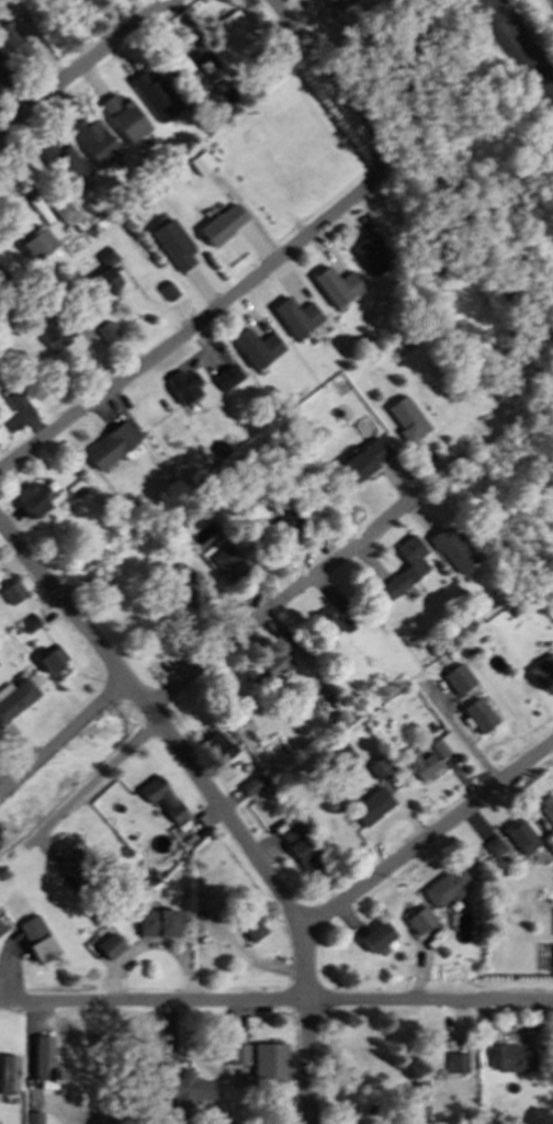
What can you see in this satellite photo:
building: (69, 0)
building: (335, 3)
building: (229, 37)
building: (13, 38)
railway: (518, 44)
building: (174, 61)
road: (83, 64)
building: (3, 72)
road: (347, 76)
building: (153, 94)
building: (133, 127)
building: (92, 139)
building: (61, 161)
building: (200, 165)
road: (16, 175)
building: (60, 207)
building: (219, 223)
building: (32, 238)
building: (170, 241)
building: (370, 251)
building: (103, 273)
building: (335, 284)
building: (166, 291)
building: (391, 299)
road: (207, 312)
building: (294, 315)
building: (53, 331)
building: (104, 331)
building: (255, 346)
building: (223, 376)
building: (316, 376)
building: (180, 385)
building: (11, 396)
building: (406, 418)
building: (109, 445)
building: (361, 460)
building: (307, 465)
building: (30, 498)
building: (285, 522)
building: (174, 542)
building: (451, 548)
building: (226, 562)
building: (403, 566)
building: (95, 577)
building: (188, 586)
building: (12, 592)
building: (504, 596)
building: (510, 609)
building: (346, 620)
building: (29, 622)
building: (321, 626)
road: (199, 634)
building: (430, 648)
building: (449, 654)
building: (52, 657)
building: (274, 663)
building: (542, 668)
building: (456, 678)
building: (14, 697)
building: (477, 715)
building: (337, 717)
building: (218, 744)
building: (441, 749)
building: (338, 753)
building: (420, 763)
building: (379, 765)
road: (95, 778)
building: (250, 785)
building: (160, 797)
road: (218, 798)
building: (370, 805)
building: (546, 809)
road: (429, 831)
building: (520, 834)
building: (301, 845)
building: (493, 846)
building: (81, 865)
building: (444, 887)
building: (115, 904)
building: (97, 915)
building: (157, 921)
building: (421, 921)
building: (455, 923)
building: (251, 926)
building: (1, 929)
building: (100, 934)
building: (376, 935)
building: (36, 937)
building: (110, 946)
building: (237, 963)
building: (195, 967)
road: (276, 1000)
building: (237, 1053)
building: (43, 1057)
building: (508, 1057)
building: (269, 1059)
building: (455, 1060)
building: (9, 1075)
building: (183, 1090)
building: (414, 1098)
building: (33, 1117)

